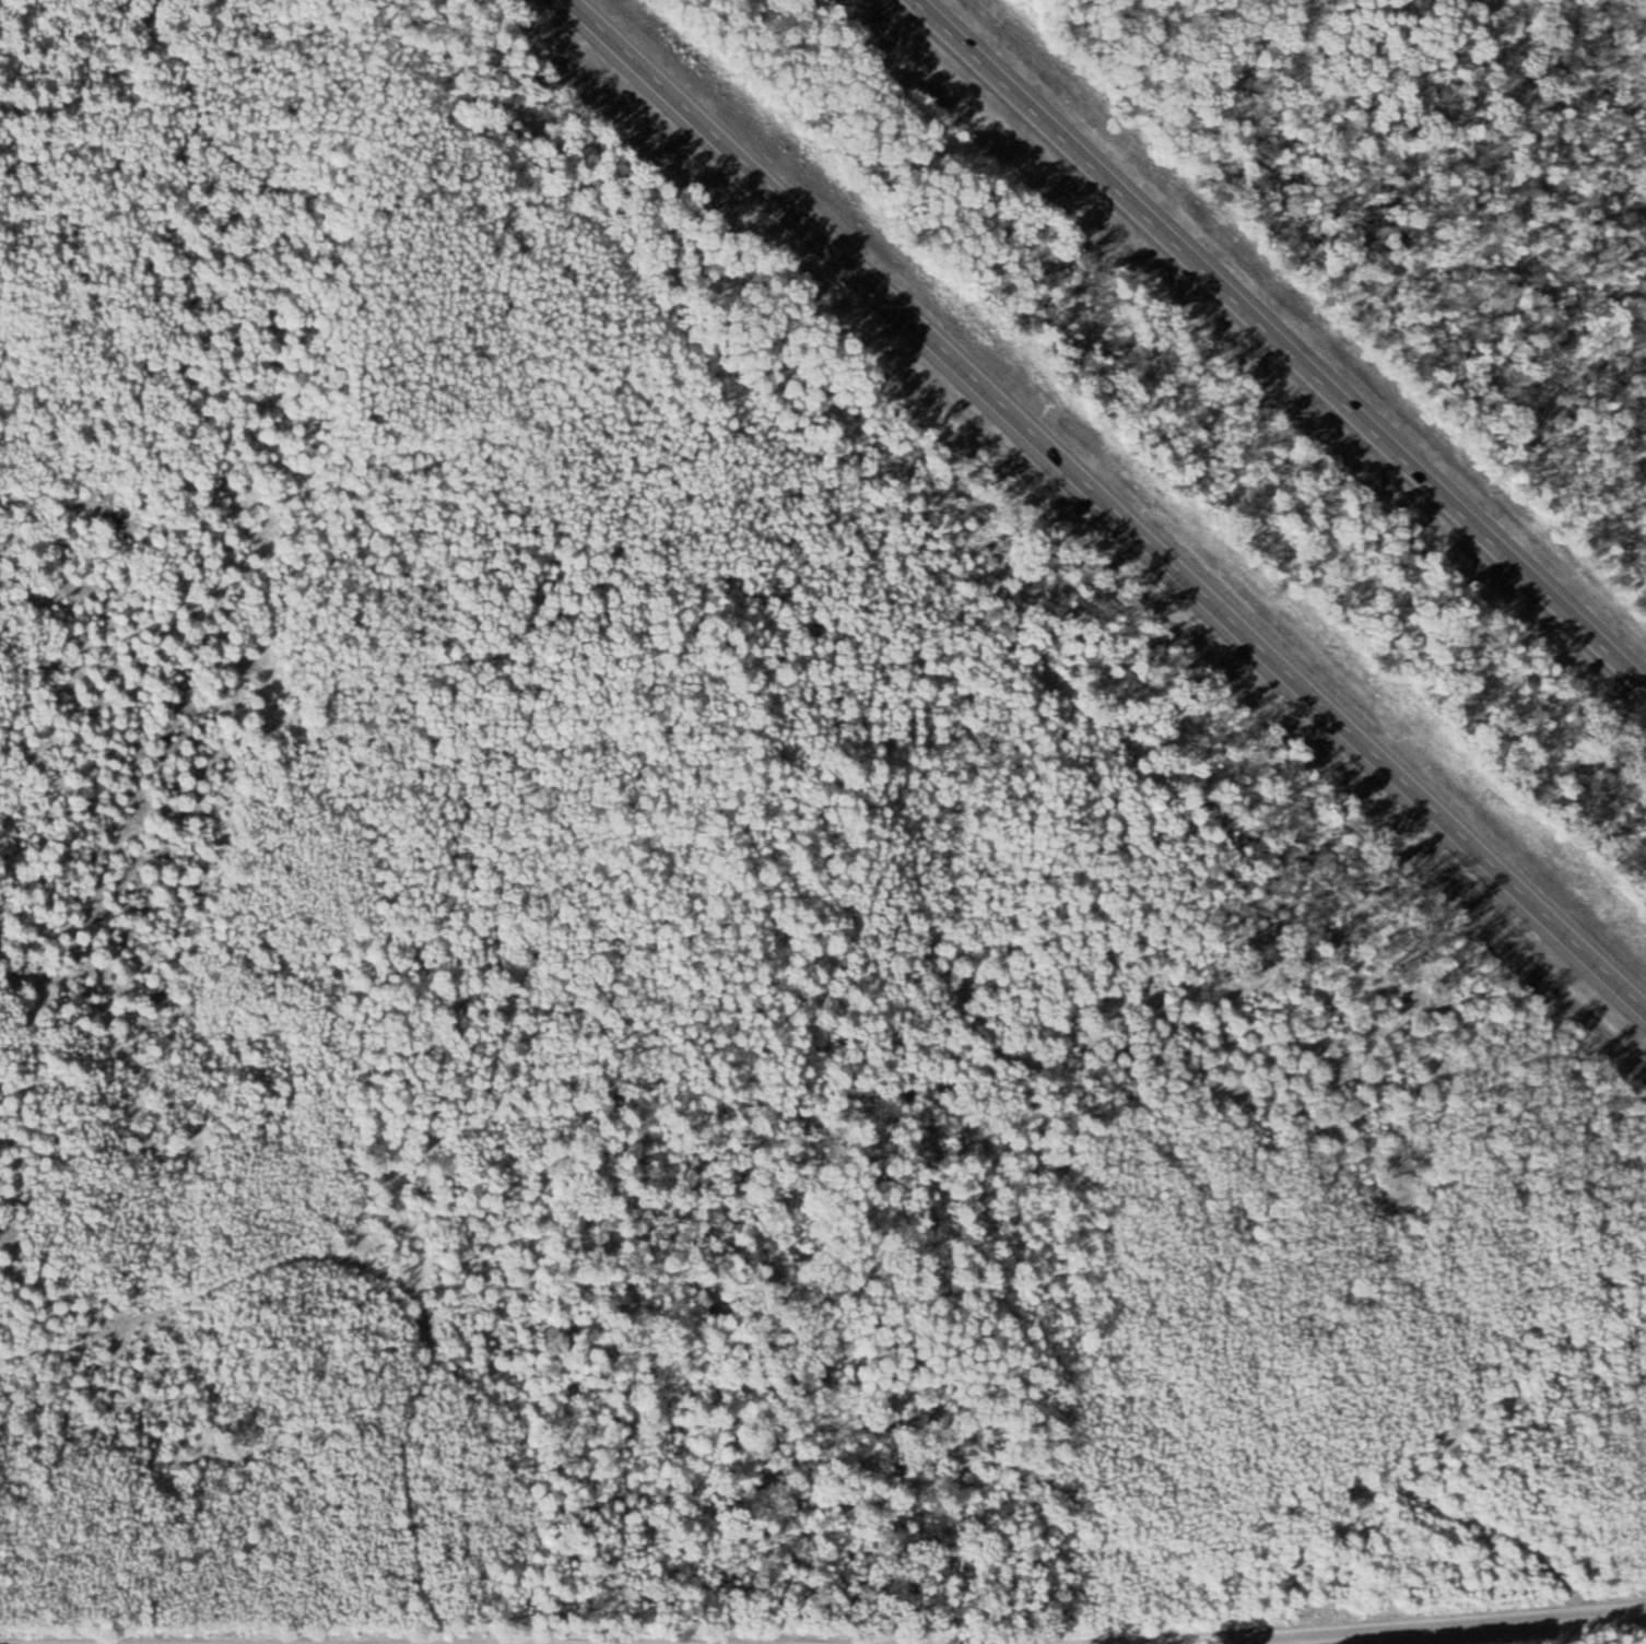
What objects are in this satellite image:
road: (1284, 339)
road: (1112, 502)
road: (1386, 1624)

